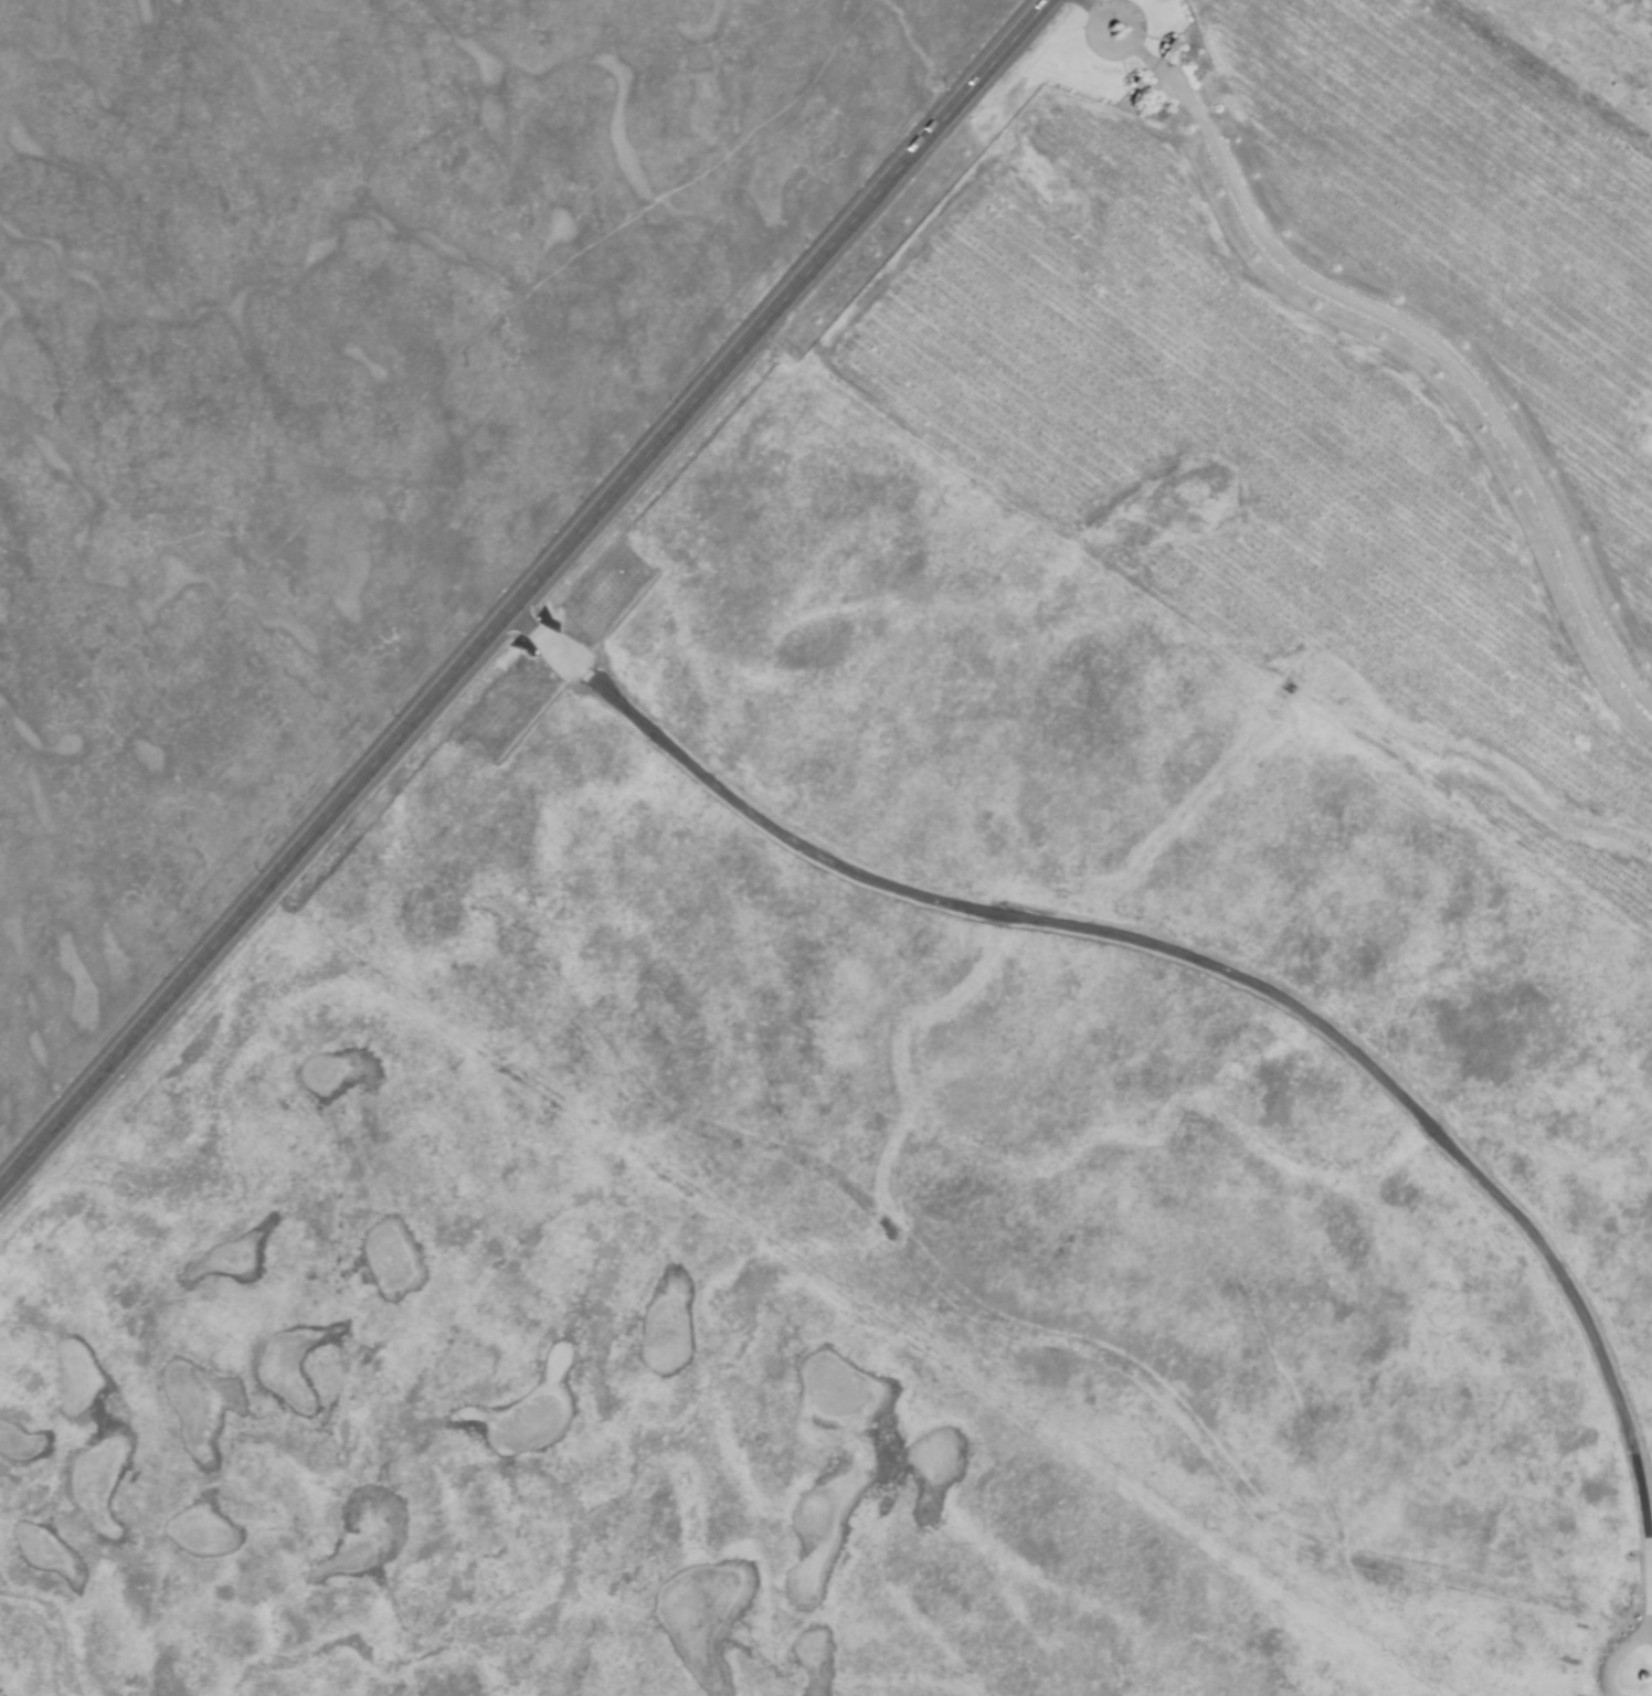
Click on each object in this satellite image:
road: (1401, 324)
road: (523, 595)
crop: (681, 965)
road: (1221, 969)
road: (1648, 1623)
road: (1649, 1637)
road: (1612, 1658)

